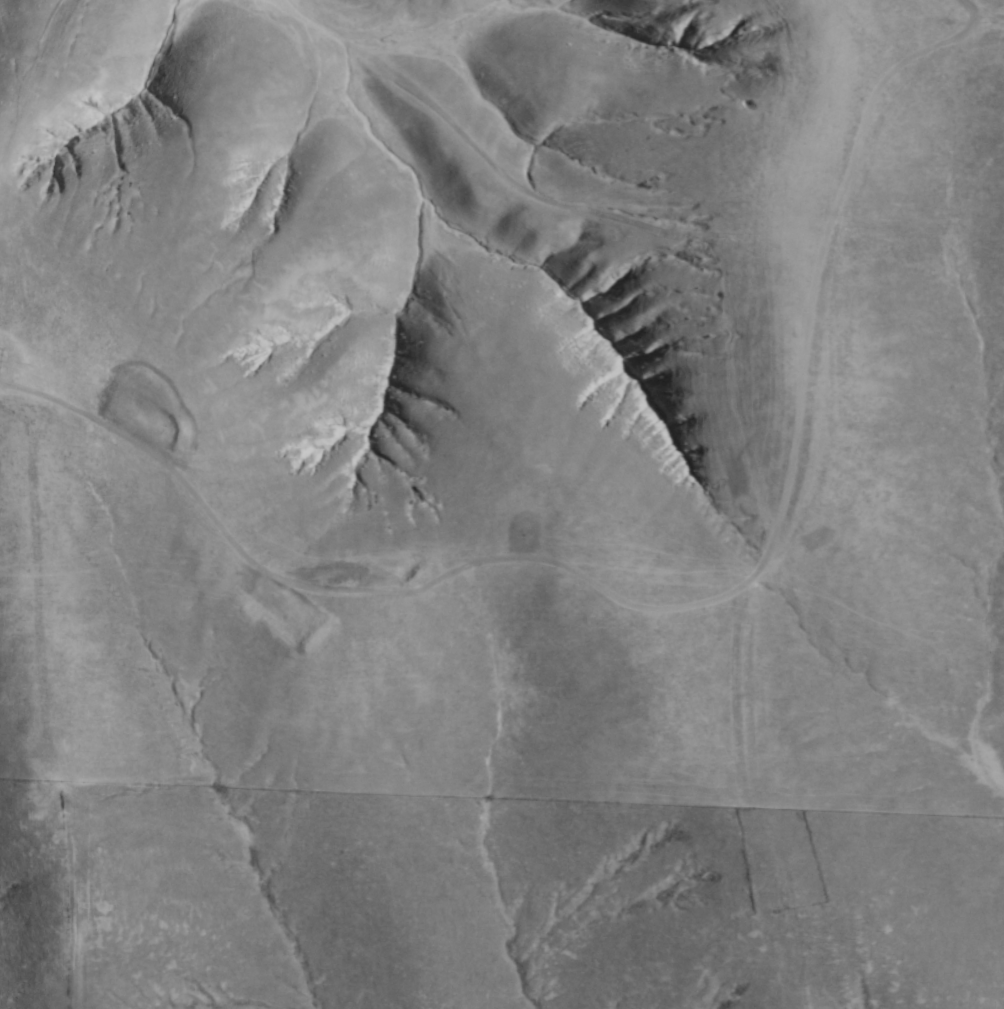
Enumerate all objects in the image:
railway: (910, 40)
railway: (891, 48)

